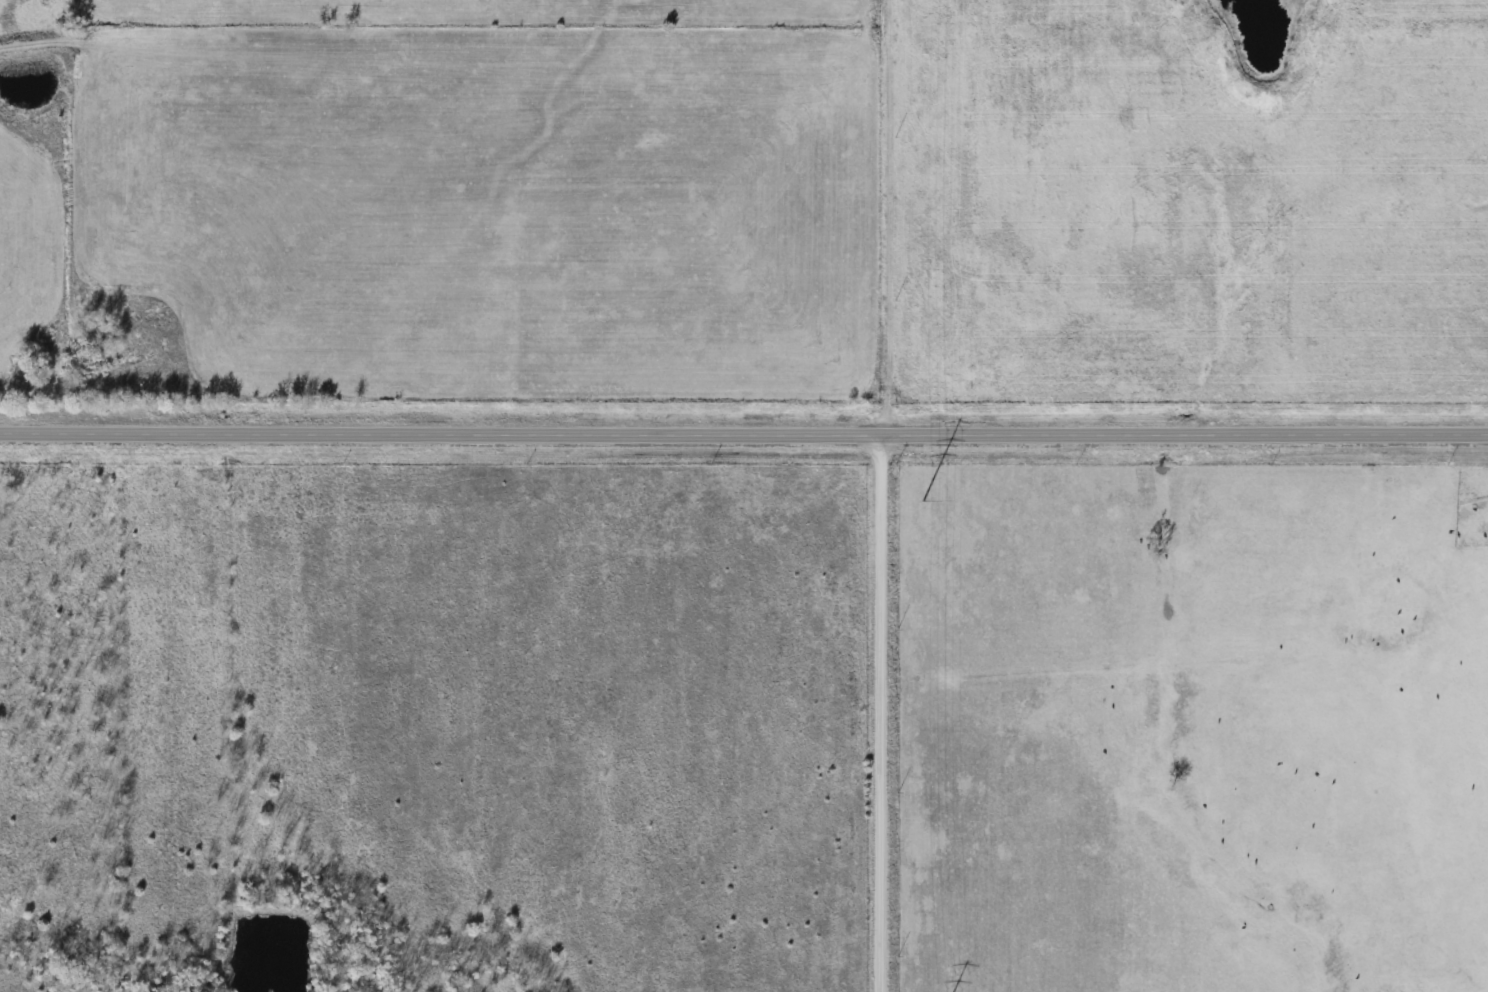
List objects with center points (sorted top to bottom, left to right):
road: (890, 217)
road: (743, 433)
power tower: (920, 502)
road: (881, 713)

